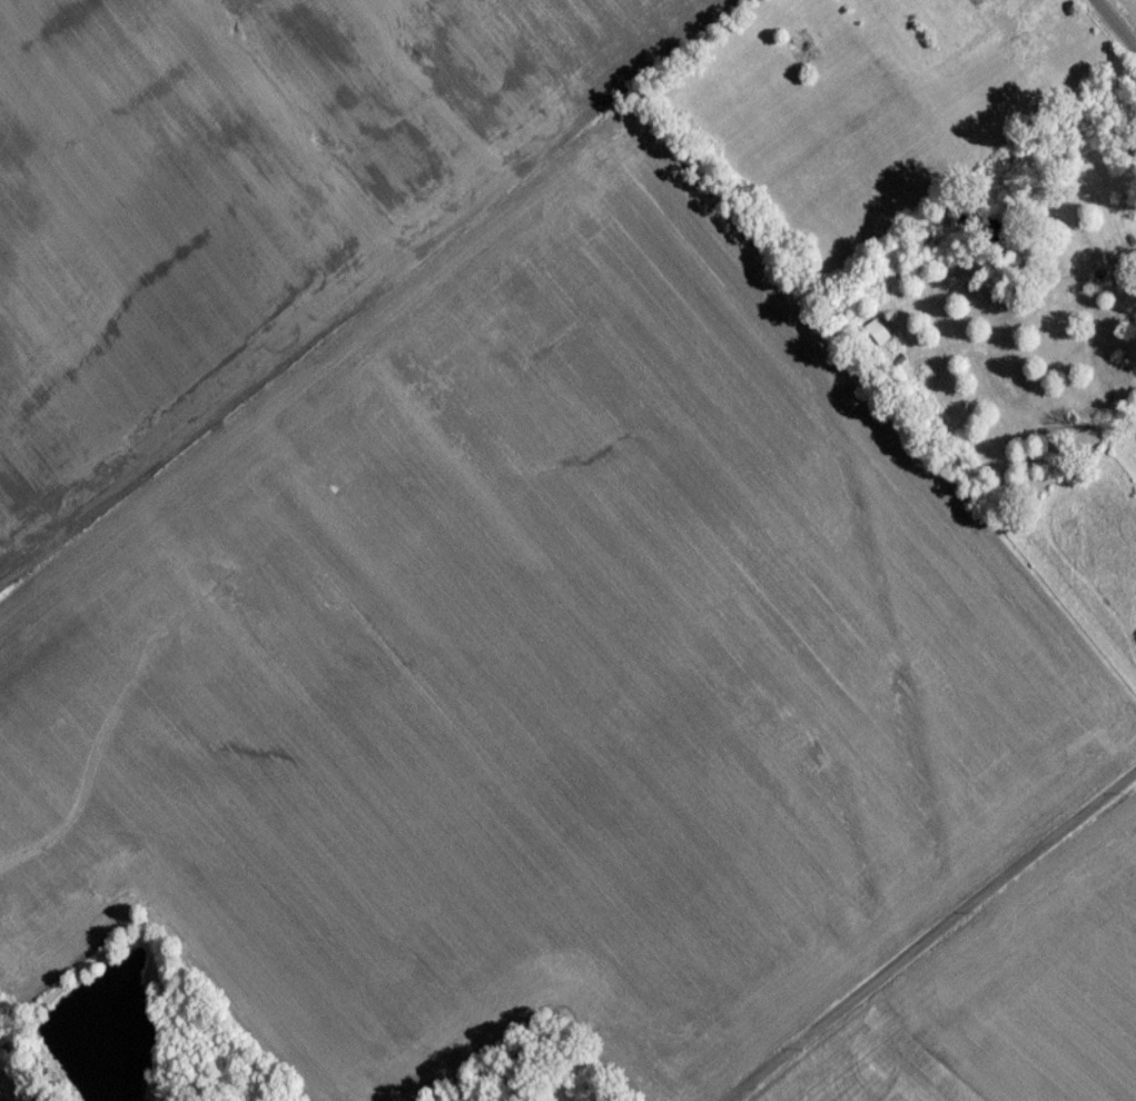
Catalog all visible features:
road: (1118, 20)
building: (875, 339)
road: (932, 936)

